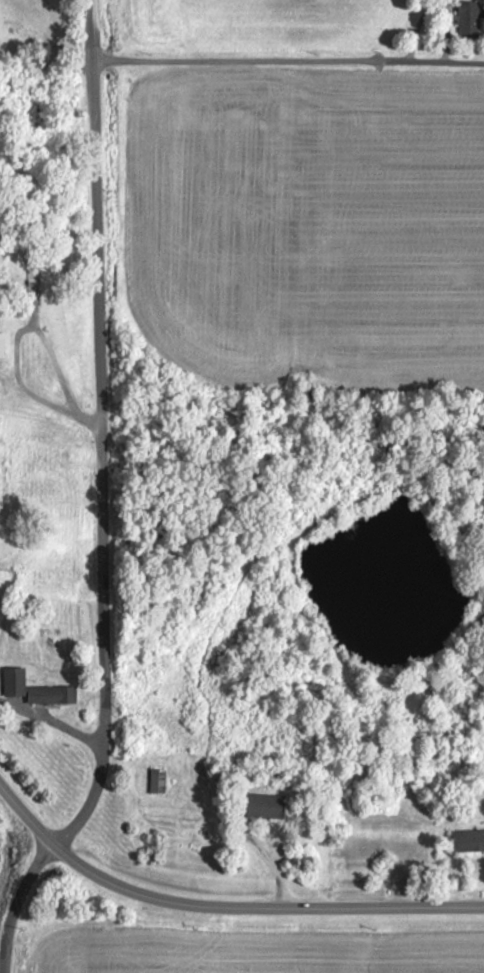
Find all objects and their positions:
building: (467, 19)
road: (289, 59)
building: (32, 270)
building: (1, 345)
road: (104, 373)
building: (35, 688)
building: (157, 780)
building: (262, 805)
building: (467, 840)
road: (48, 854)
road: (219, 907)

